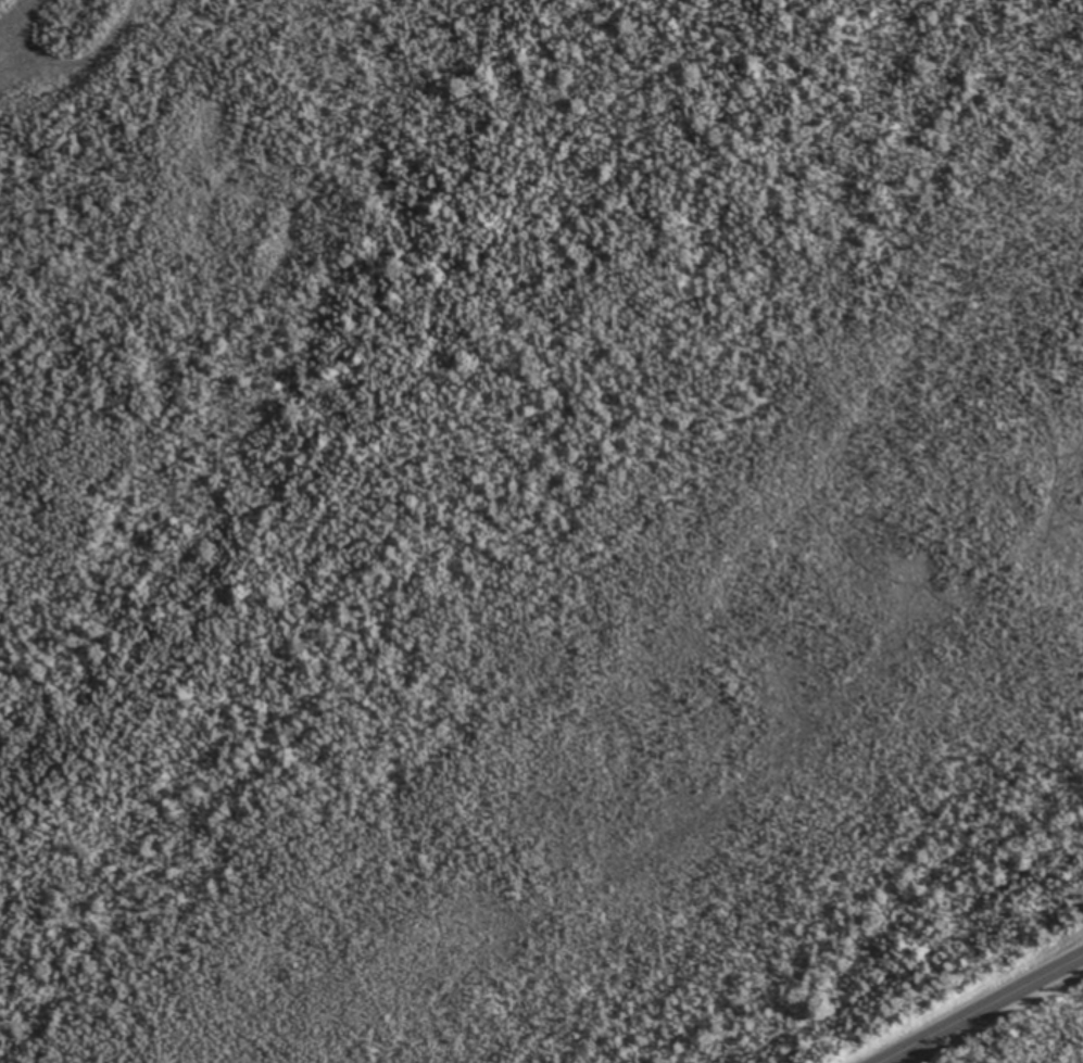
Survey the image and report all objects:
road: (987, 1012)

